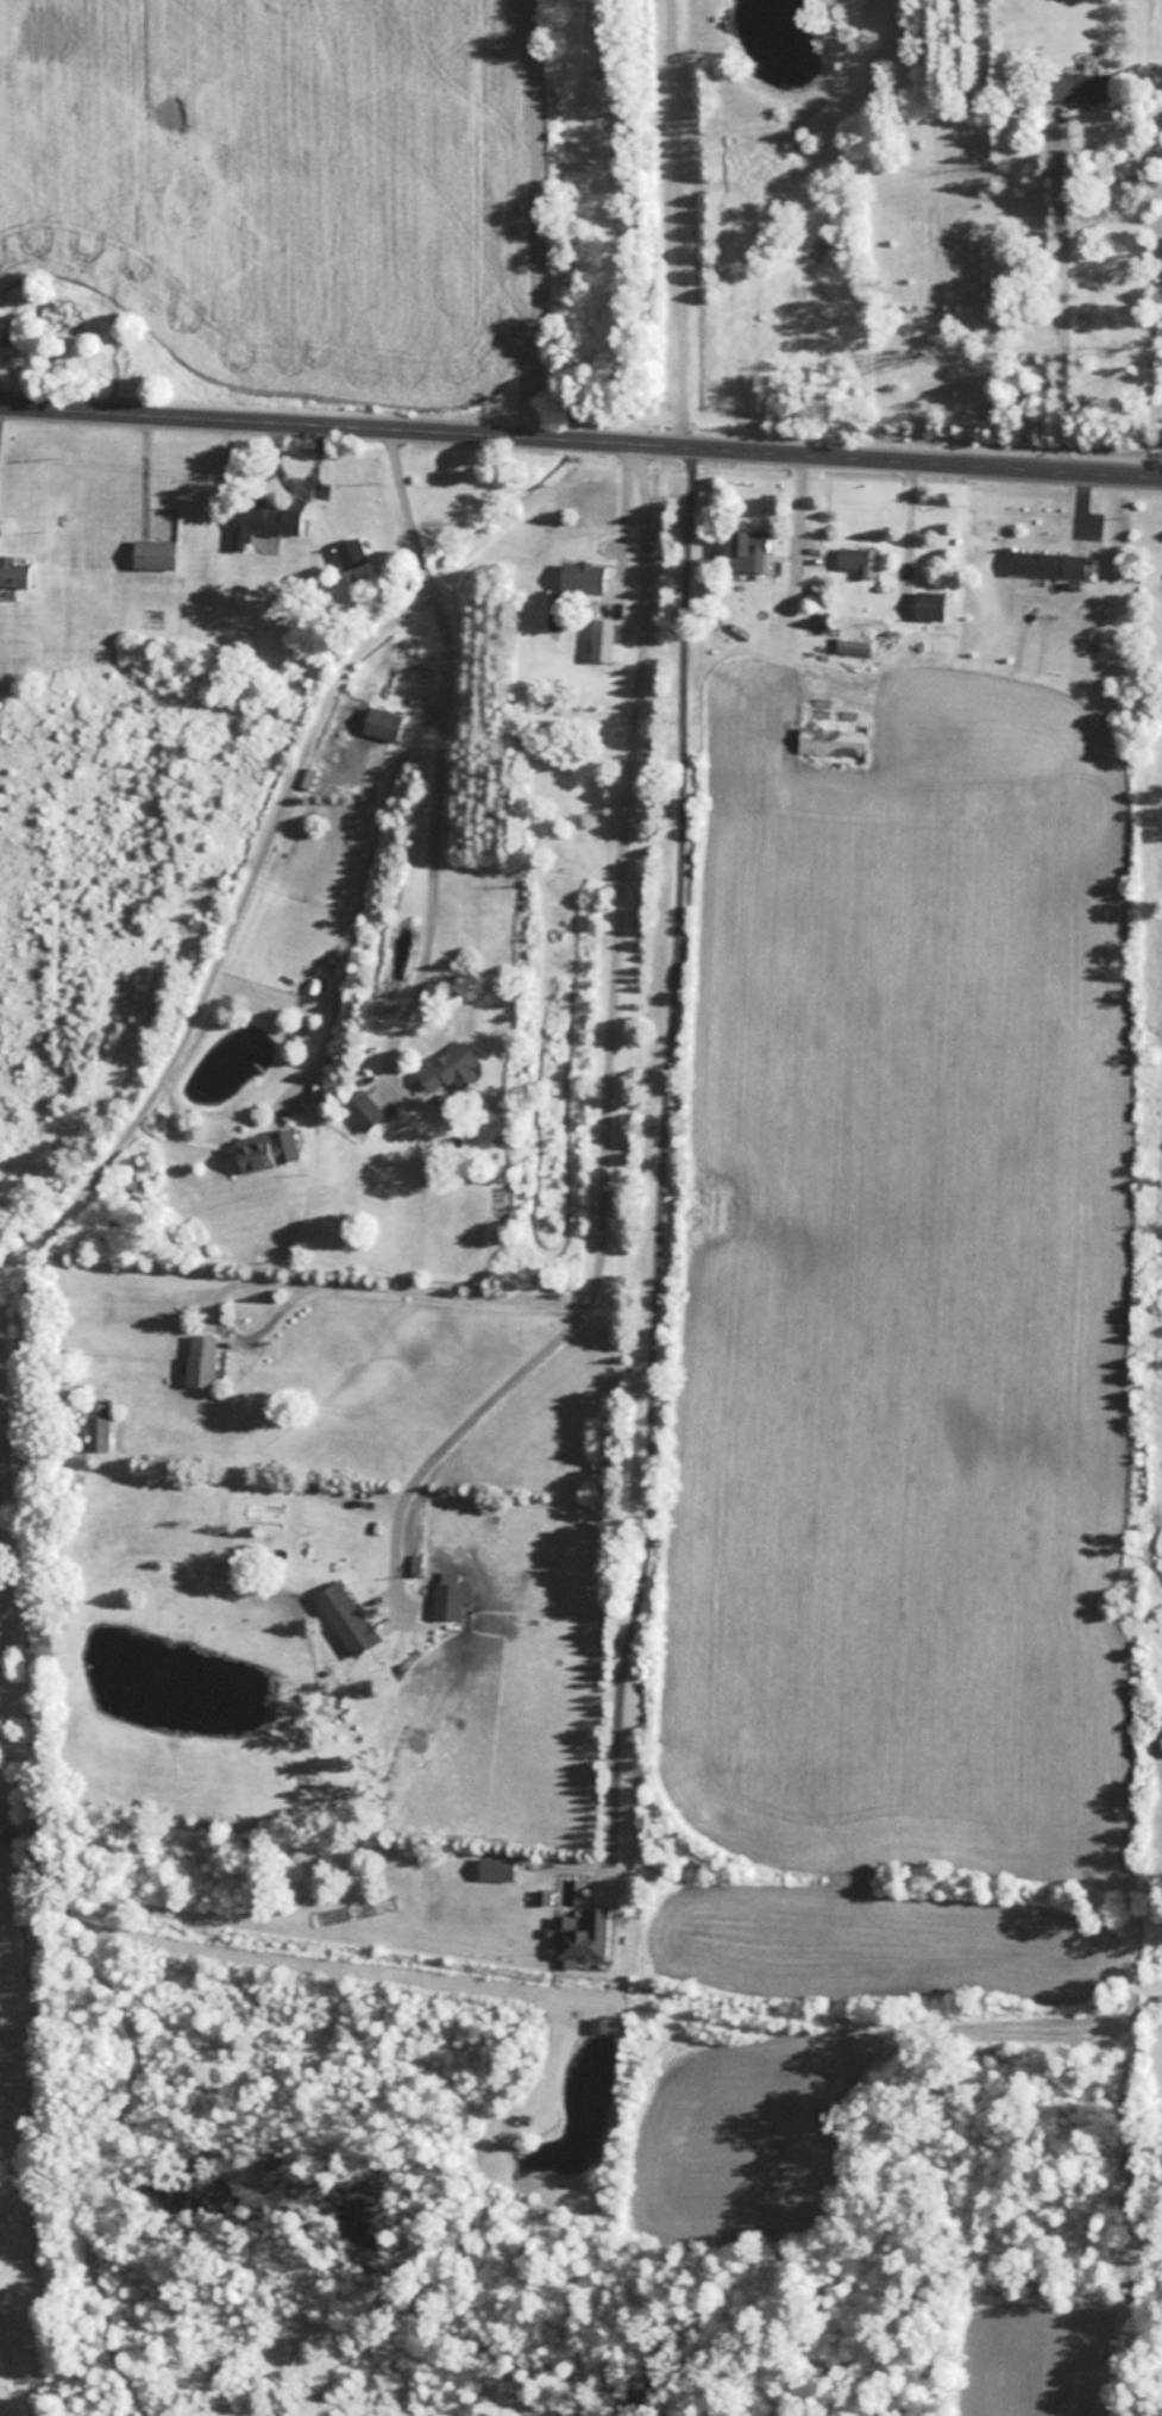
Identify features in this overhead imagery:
building: (1075, 86)
road: (671, 220)
road: (1057, 290)
road: (580, 435)
building: (262, 521)
building: (749, 550)
building: (153, 553)
building: (350, 553)
building: (853, 558)
building: (1034, 561)
building: (13, 572)
building: (583, 578)
building: (929, 604)
building: (601, 638)
road: (438, 691)
building: (382, 723)
building: (833, 740)
road: (360, 885)
road: (224, 925)
road: (610, 949)
building: (447, 1068)
building: (363, 1110)
building: (266, 1148)
road: (654, 1165)
road: (396, 1287)
building: (201, 1358)
building: (98, 1424)
road: (398, 1500)
building: (450, 1594)
building: (345, 1617)
road: (1, 1744)
building: (495, 1868)
building: (580, 1935)

